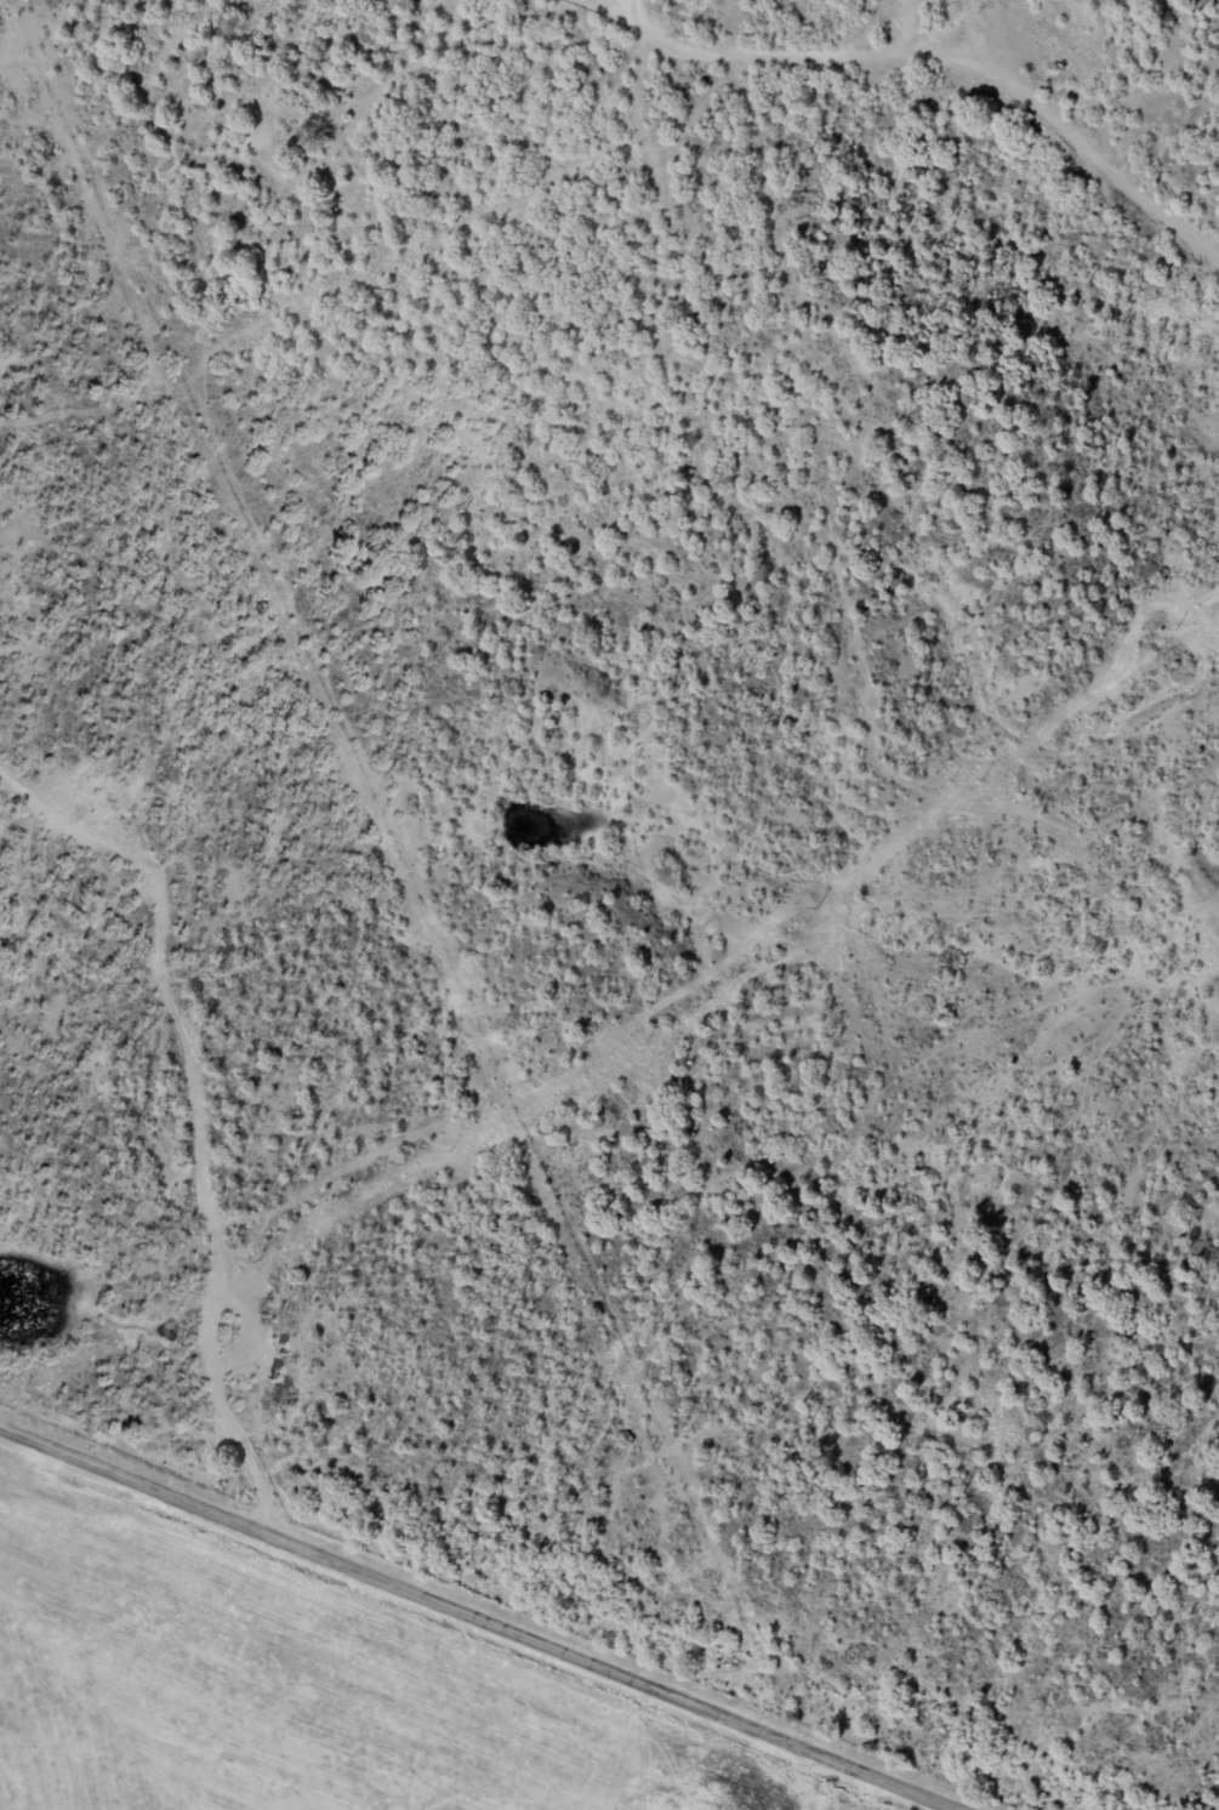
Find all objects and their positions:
road: (482, 1618)

